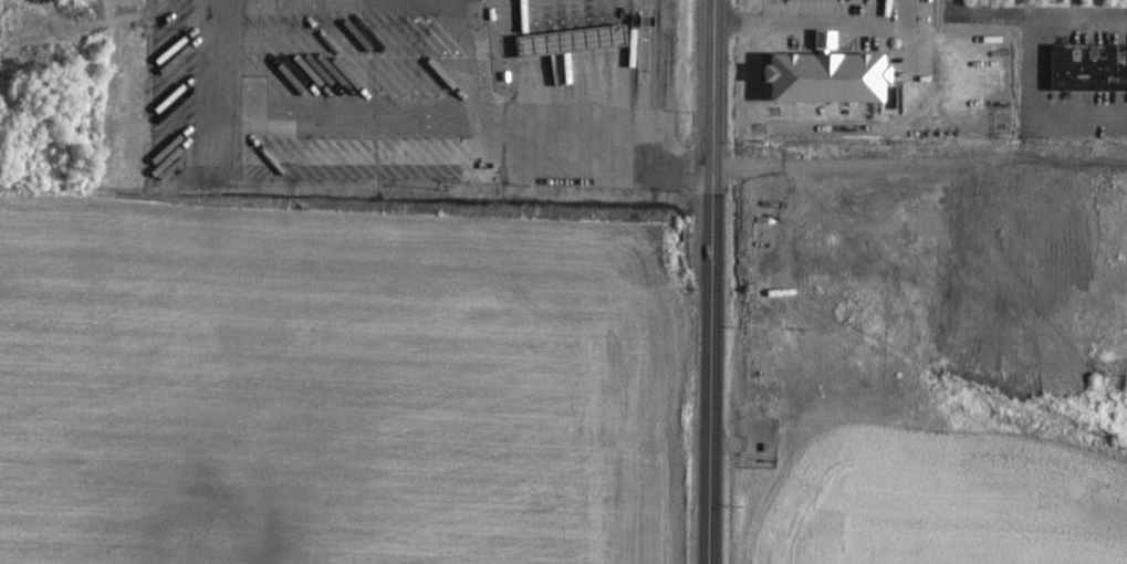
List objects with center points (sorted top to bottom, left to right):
road: (812, 20)
building: (575, 41)
building: (1087, 66)
road: (1033, 72)
building: (820, 75)
road: (503, 159)
road: (711, 281)

